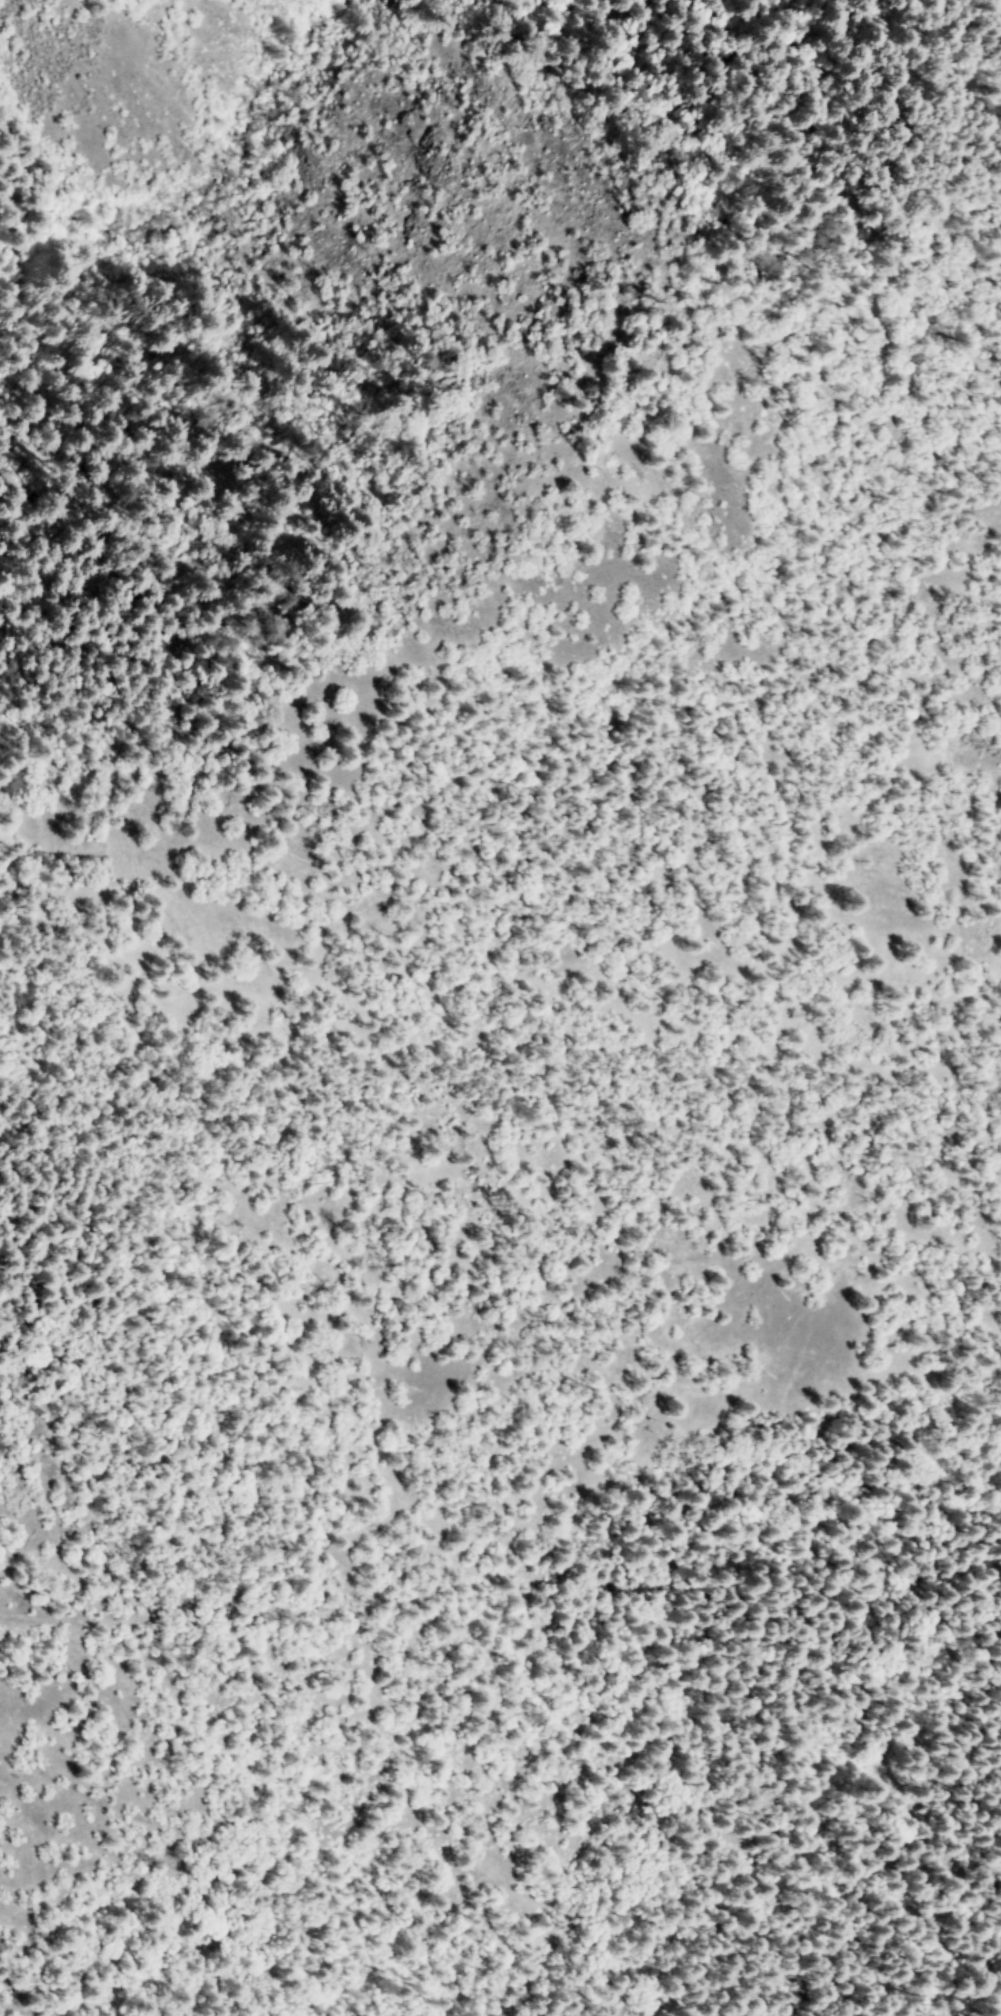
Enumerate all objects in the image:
road: (990, 2008)

